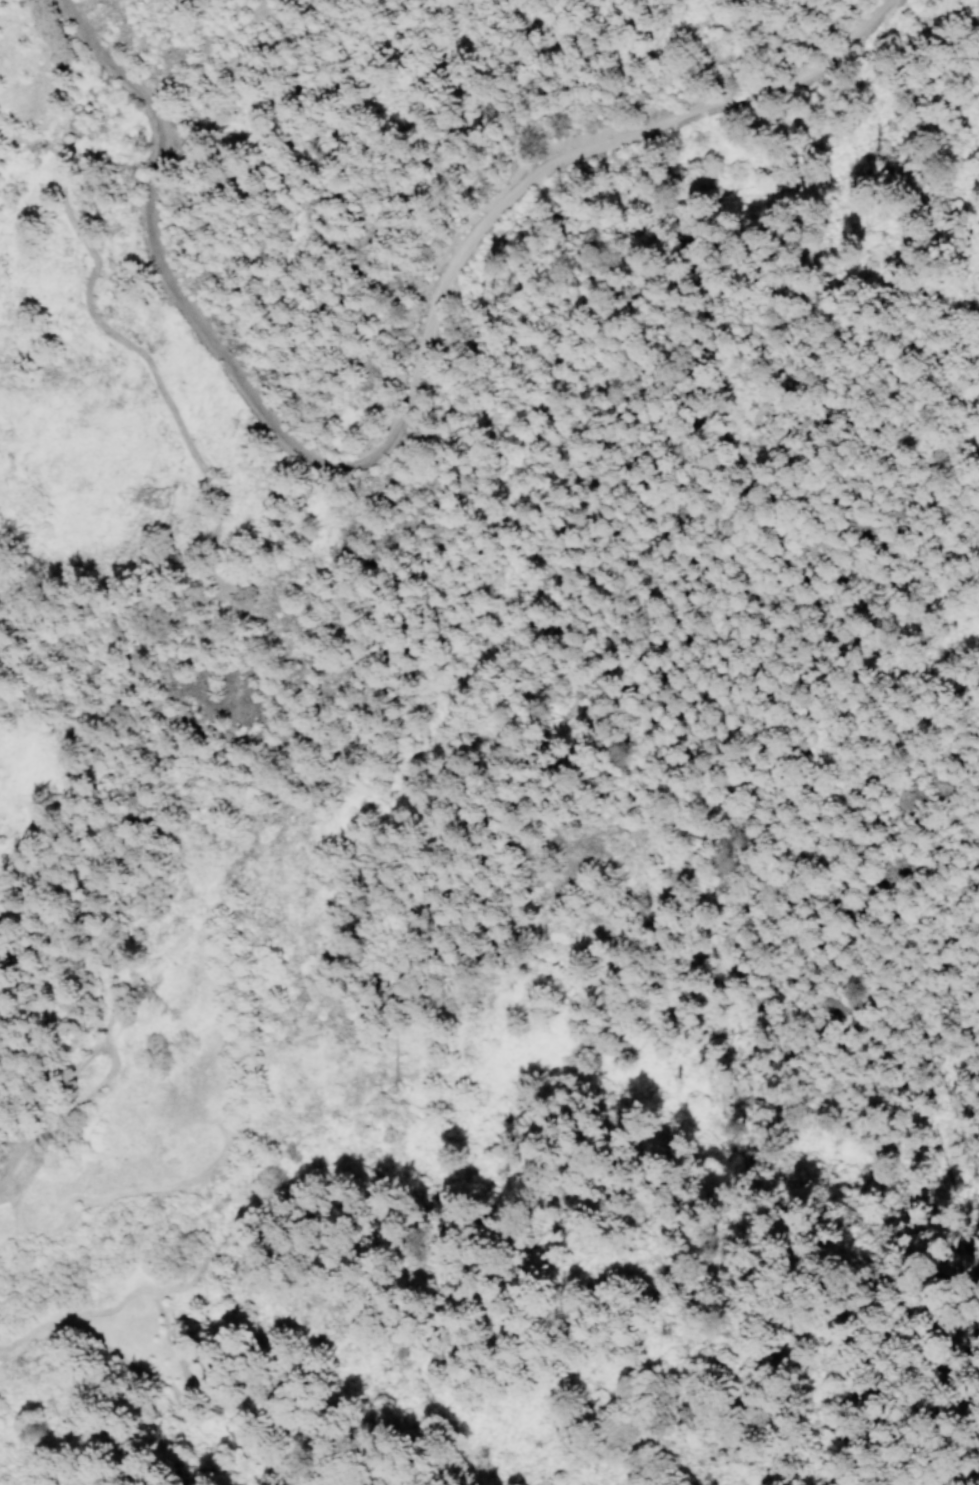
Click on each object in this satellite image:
road: (400, 403)

